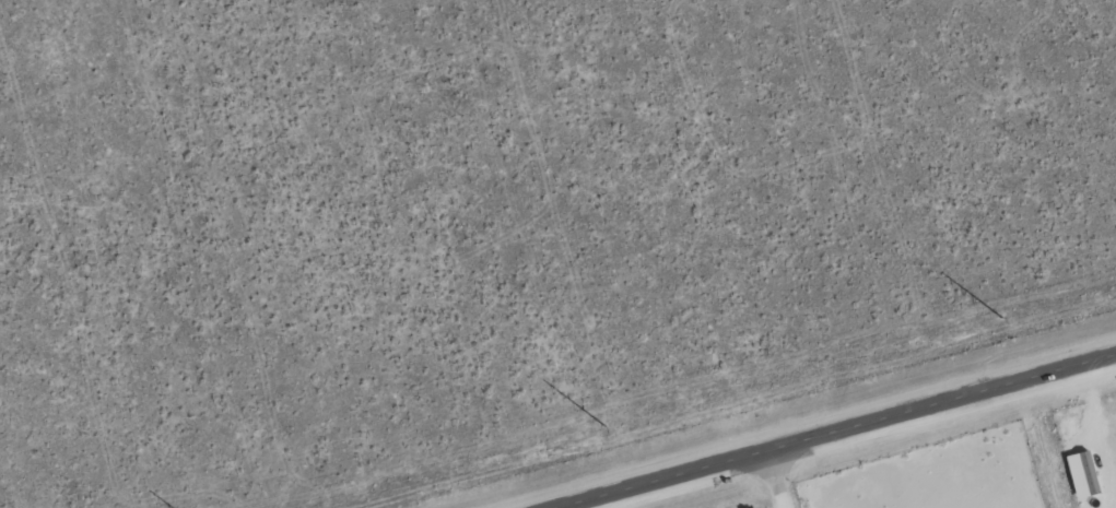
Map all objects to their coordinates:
power tower: (1002, 316)
power tower: (604, 426)
road: (839, 432)
road: (773, 480)

